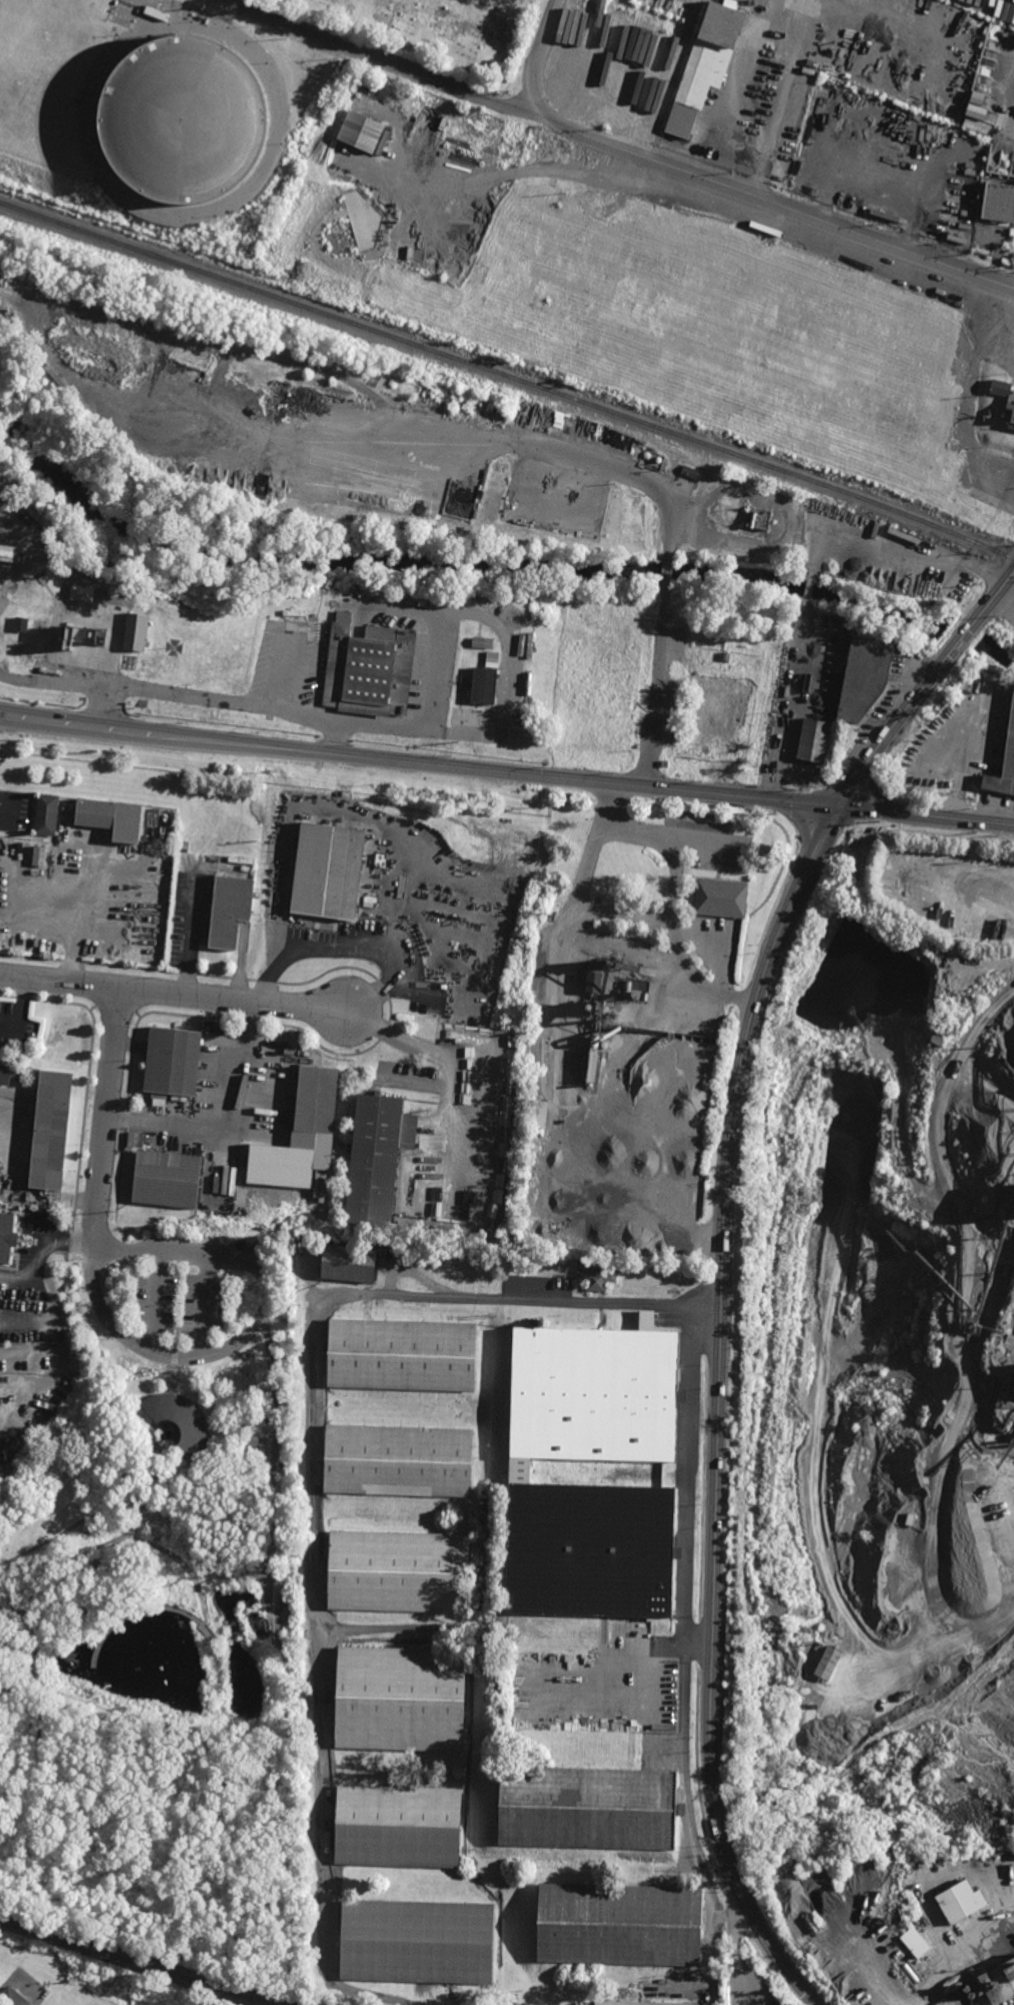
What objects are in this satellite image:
building: (641, 1)
road: (790, 14)
park: (439, 30)
building: (712, 54)
road: (384, 61)
building: (183, 122)
storage tank: (183, 122)
building: (947, 129)
building: (360, 132)
building: (729, 143)
road: (723, 181)
building: (959, 201)
building: (998, 201)
railway: (509, 376)
road: (970, 397)
building: (1009, 407)
building: (562, 434)
road: (525, 446)
building: (646, 455)
building: (658, 459)
building: (690, 471)
building: (0, 485)
building: (12, 553)
road: (902, 559)
road: (666, 574)
road: (808, 588)
road: (468, 612)
building: (313, 615)
building: (301, 617)
building: (21, 623)
building: (139, 631)
building: (89, 634)
building: (482, 642)
building: (726, 656)
building: (492, 660)
building: (370, 669)
building: (864, 676)
road: (68, 683)
building: (727, 683)
building: (487, 686)
road: (924, 686)
road: (659, 690)
road: (939, 696)
road: (221, 700)
road: (787, 703)
building: (716, 713)
road: (401, 728)
building: (815, 741)
road: (664, 752)
road: (419, 762)
building: (664, 763)
building: (1004, 765)
road: (859, 773)
traffic signals: (840, 805)
road: (328, 811)
road: (927, 814)
building: (47, 815)
building: (112, 818)
road: (671, 837)
road: (593, 848)
building: (39, 856)
building: (343, 877)
building: (402, 886)
building: (722, 899)
building: (230, 909)
road: (359, 946)
building: (601, 974)
building: (628, 985)
road: (172, 993)
building: (640, 995)
building: (604, 1007)
road: (562, 1013)
building: (604, 1035)
building: (605, 1043)
road: (436, 1055)
building: (173, 1061)
building: (594, 1064)
building: (8, 1070)
building: (317, 1098)
building: (540, 1113)
road: (104, 1117)
building: (53, 1130)
building: (377, 1157)
building: (280, 1165)
building: (167, 1179)
building: (6, 1236)
building: (254, 1247)
building: (348, 1264)
building: (597, 1279)
road: (158, 1301)
parking lot: (180, 1301)
road: (207, 1305)
road: (707, 1305)
road: (179, 1313)
road: (252, 1330)
building: (403, 1356)
road: (174, 1359)
road: (171, 1379)
road: (719, 1408)
building: (180, 1421)
road: (179, 1434)
quarry: (885, 1434)
building: (399, 1462)
road: (275, 1464)
road: (689, 1471)
building: (521, 1474)
road: (146, 1490)
road: (314, 1497)
road: (90, 1514)
road: (127, 1536)
building: (399, 1571)
road: (69, 1577)
road: (110, 1600)
park: (166, 1603)
road: (5, 1606)
road: (144, 1608)
road: (699, 1637)
road: (33, 1654)
building: (827, 1663)
building: (402, 1696)
road: (684, 1720)
road: (34, 1782)
building: (588, 1807)
building: (398, 1827)
road: (253, 1842)
building: (960, 1901)
road: (711, 1903)
building: (621, 1925)
building: (417, 1941)
building: (914, 1942)
railway: (135, 1963)
road: (881, 1973)
building: (998, 1982)
building: (13, 1998)
building: (511, 2002)
building: (637, 2003)

